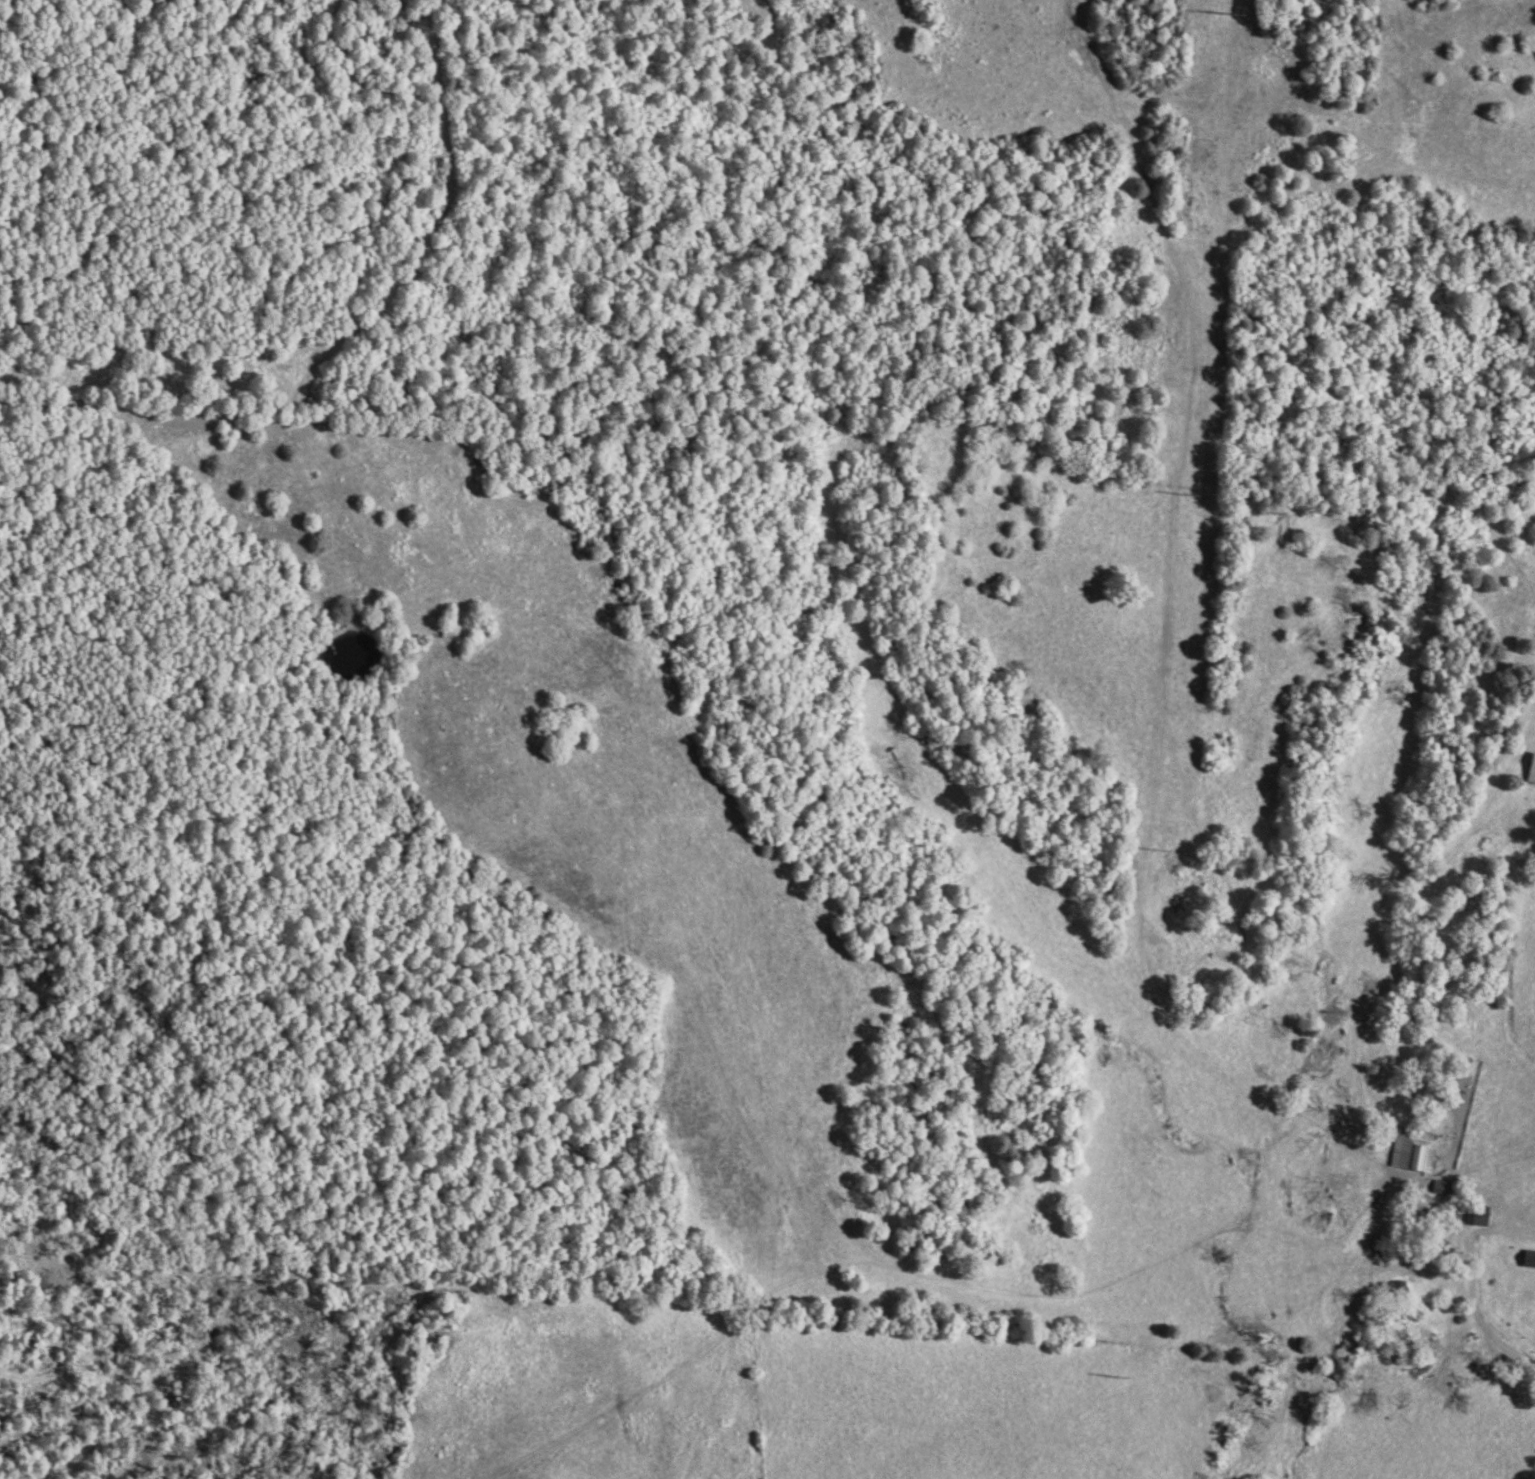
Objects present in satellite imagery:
building: (1529, 768)
building: (1410, 1151)
building: (1478, 1215)
road: (1489, 1334)

